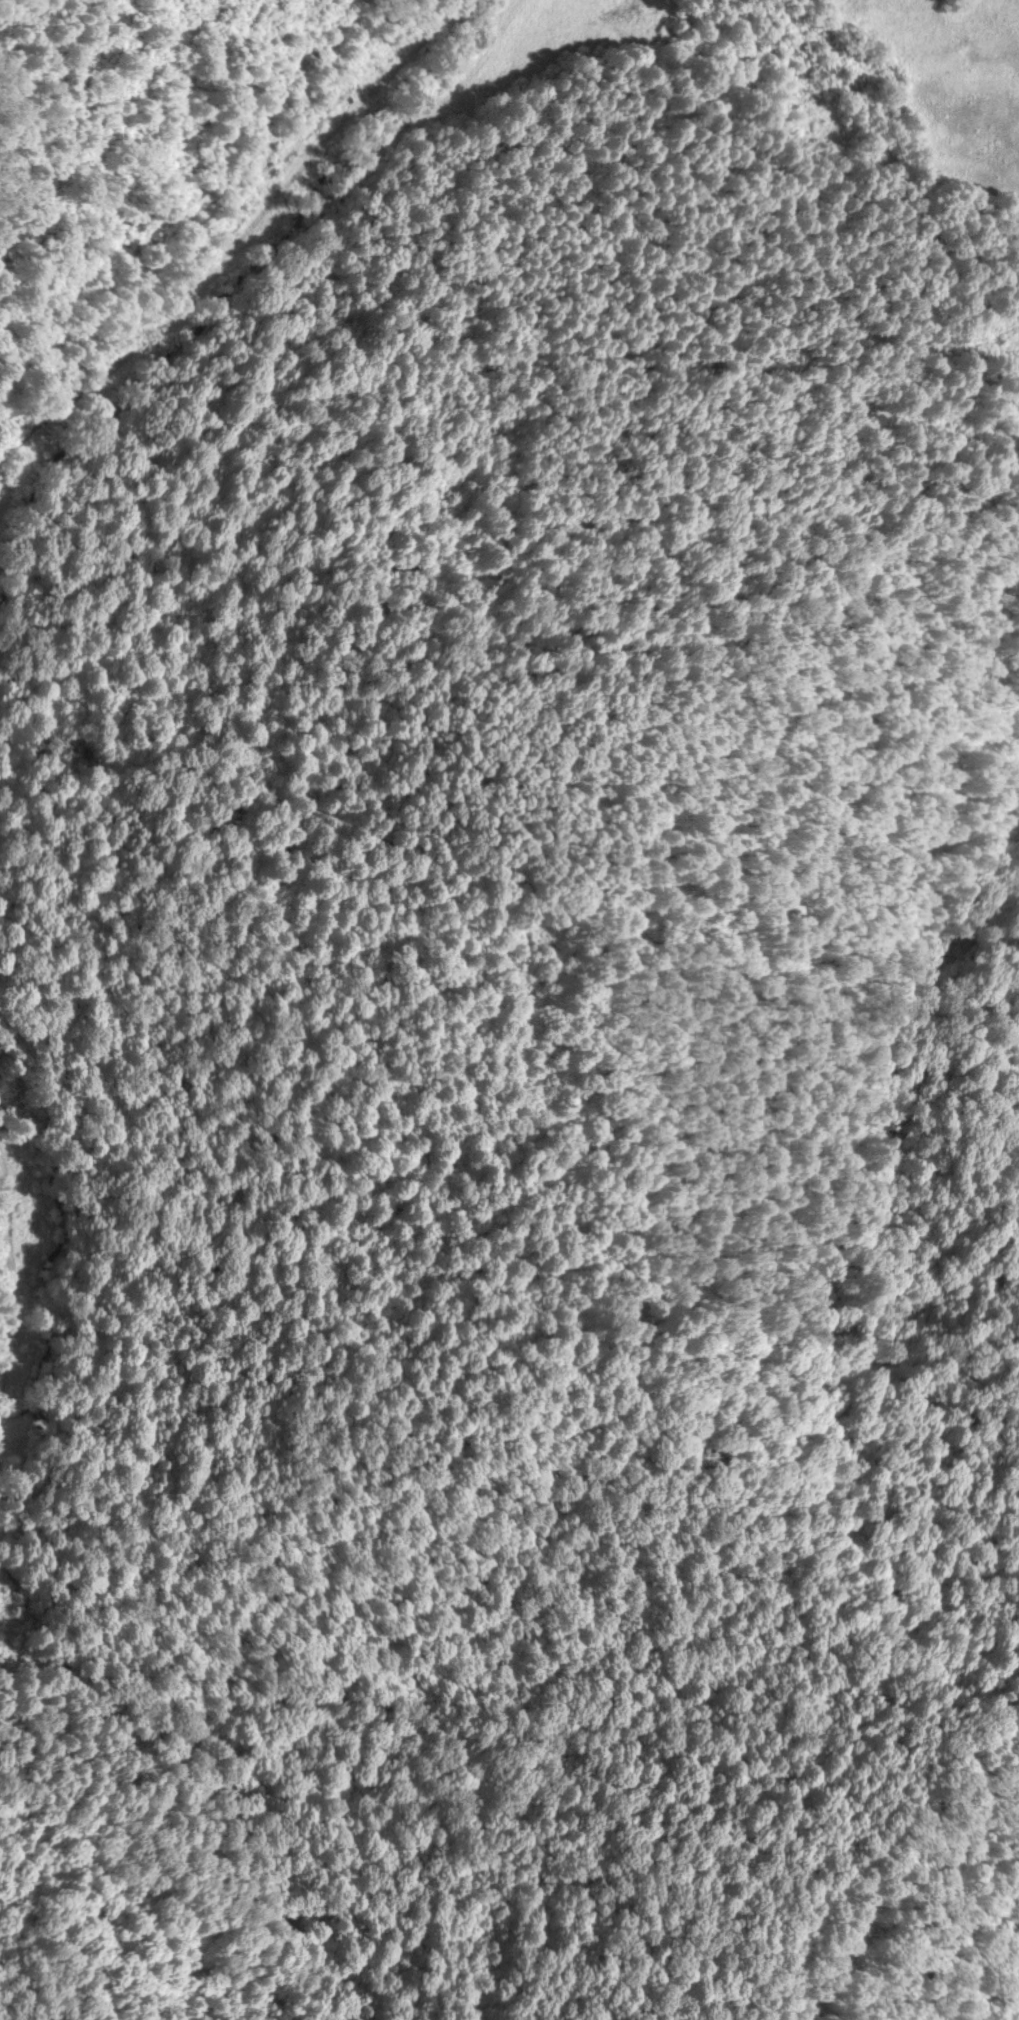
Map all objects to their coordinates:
road: (377, 158)

